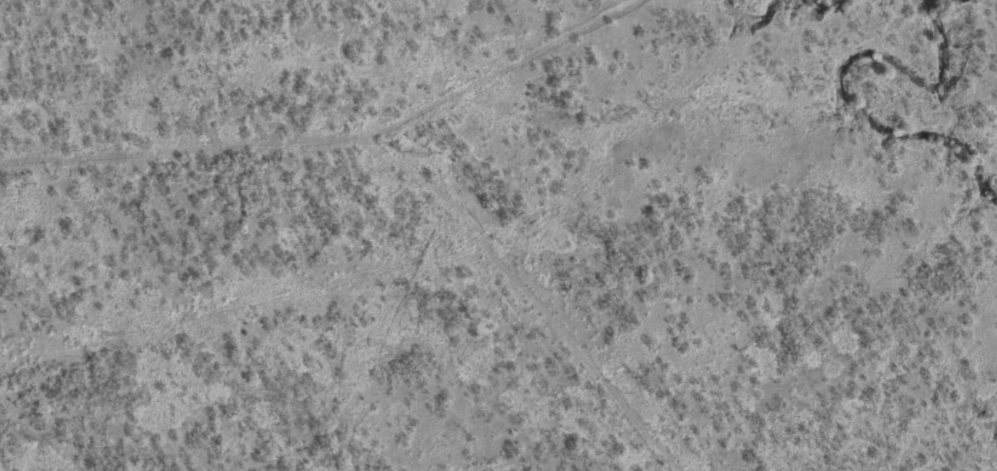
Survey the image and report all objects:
road: (370, 53)
road: (328, 147)
road: (481, 313)

